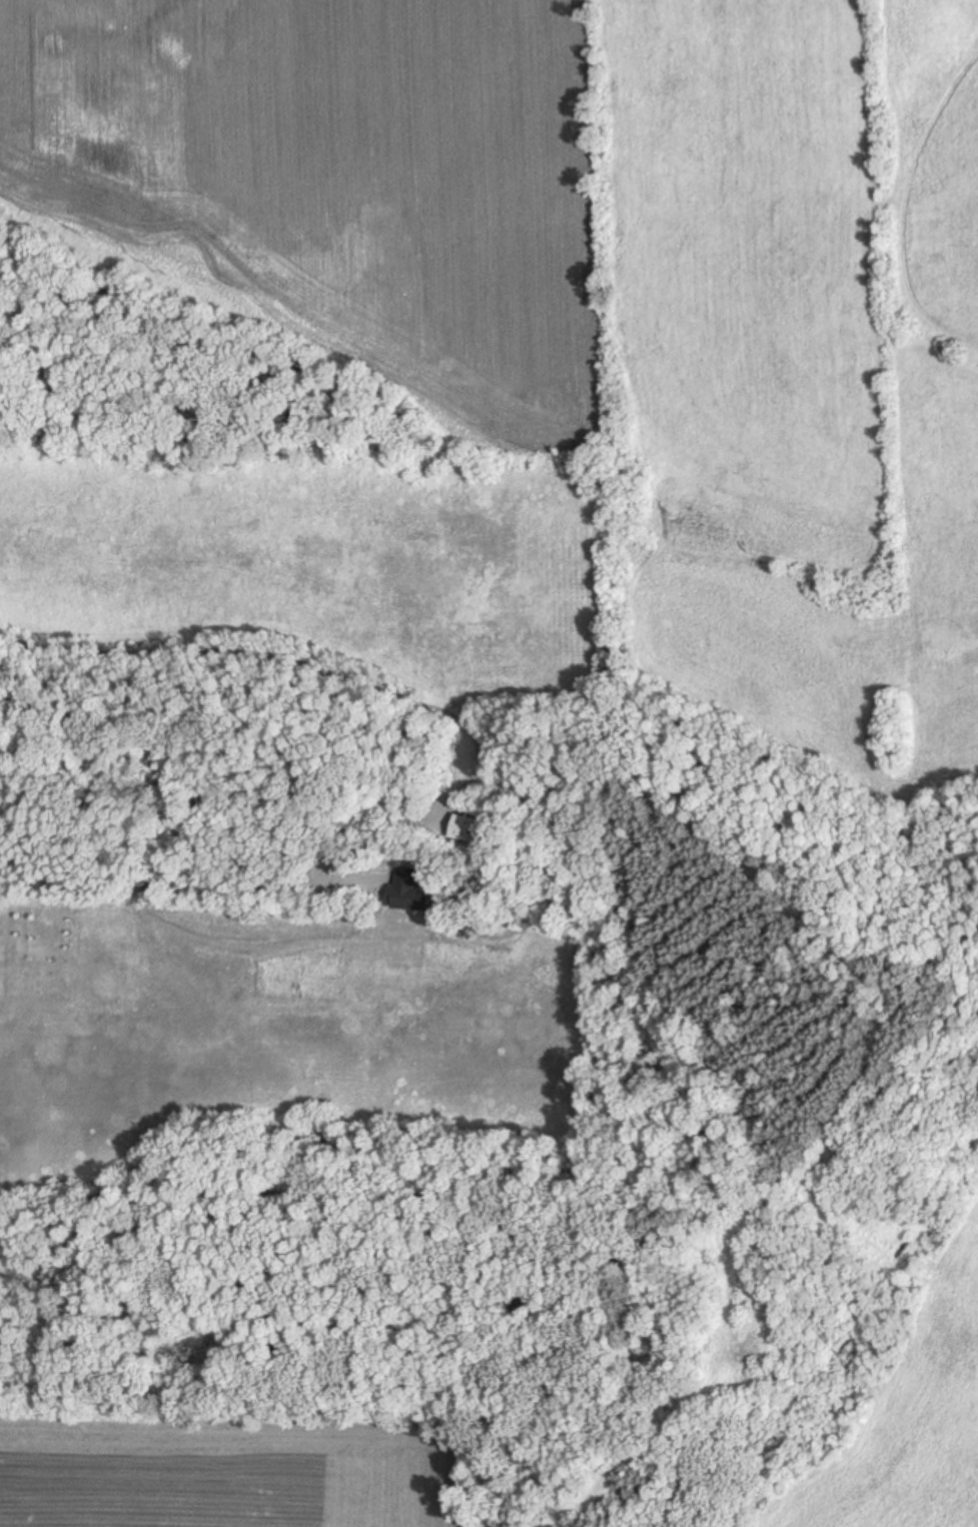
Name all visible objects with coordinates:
road: (292, 661)
building: (471, 830)
building: (405, 886)

